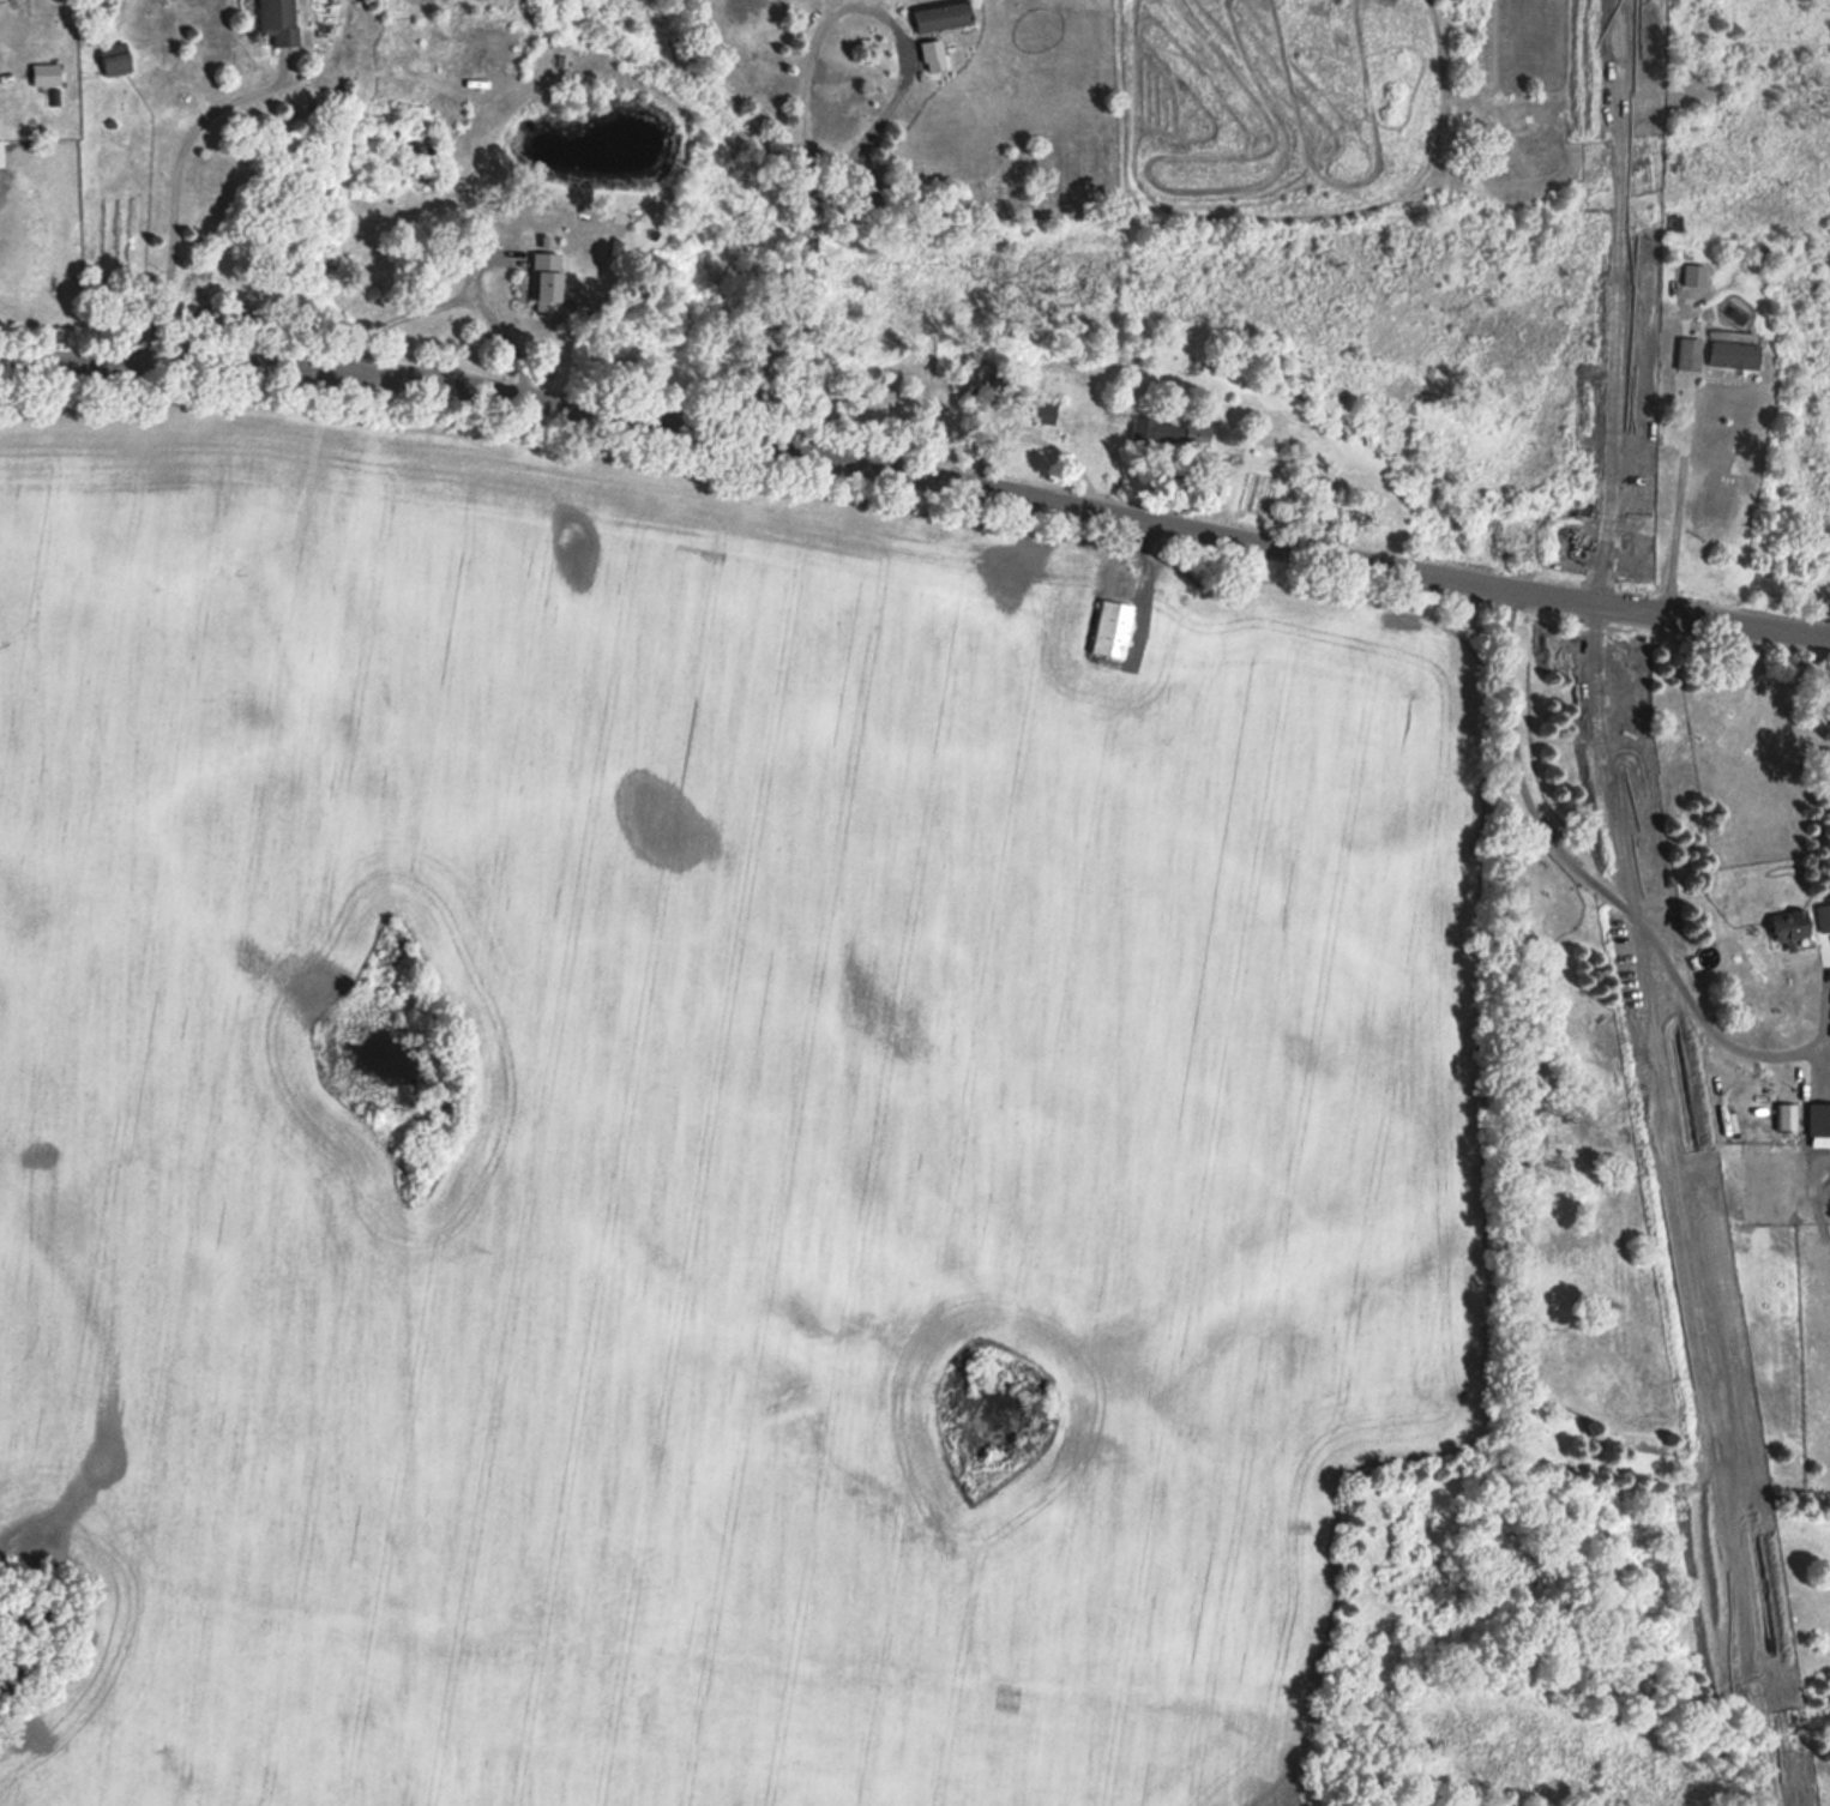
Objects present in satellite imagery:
building: (938, 14)
building: (273, 20)
building: (110, 58)
building: (42, 72)
road: (808, 89)
road: (892, 97)
road: (174, 183)
building: (541, 279)
road: (452, 297)
road: (770, 315)
building: (1685, 353)
building: (1729, 354)
building: (1043, 413)
building: (1167, 432)
road: (916, 474)
road: (1681, 516)
building: (1107, 628)
road: (1625, 909)
building: (1822, 916)
building: (1787, 925)
building: (1817, 1119)

